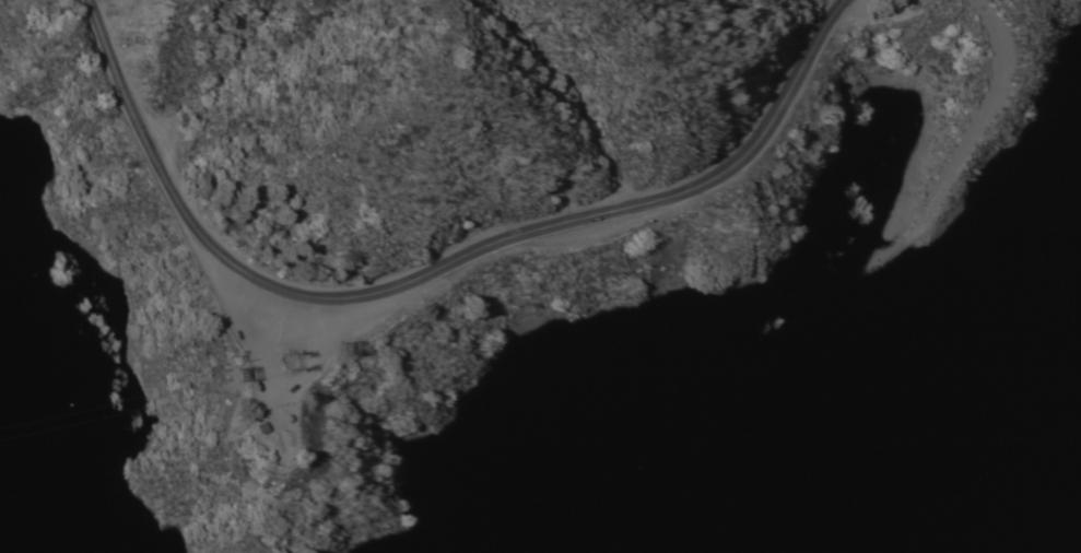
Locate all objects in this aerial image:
road: (978, 117)
road: (432, 270)
parking lot: (293, 332)
river: (928, 344)
river: (943, 364)
river: (876, 390)
river: (69, 491)
river: (748, 515)

